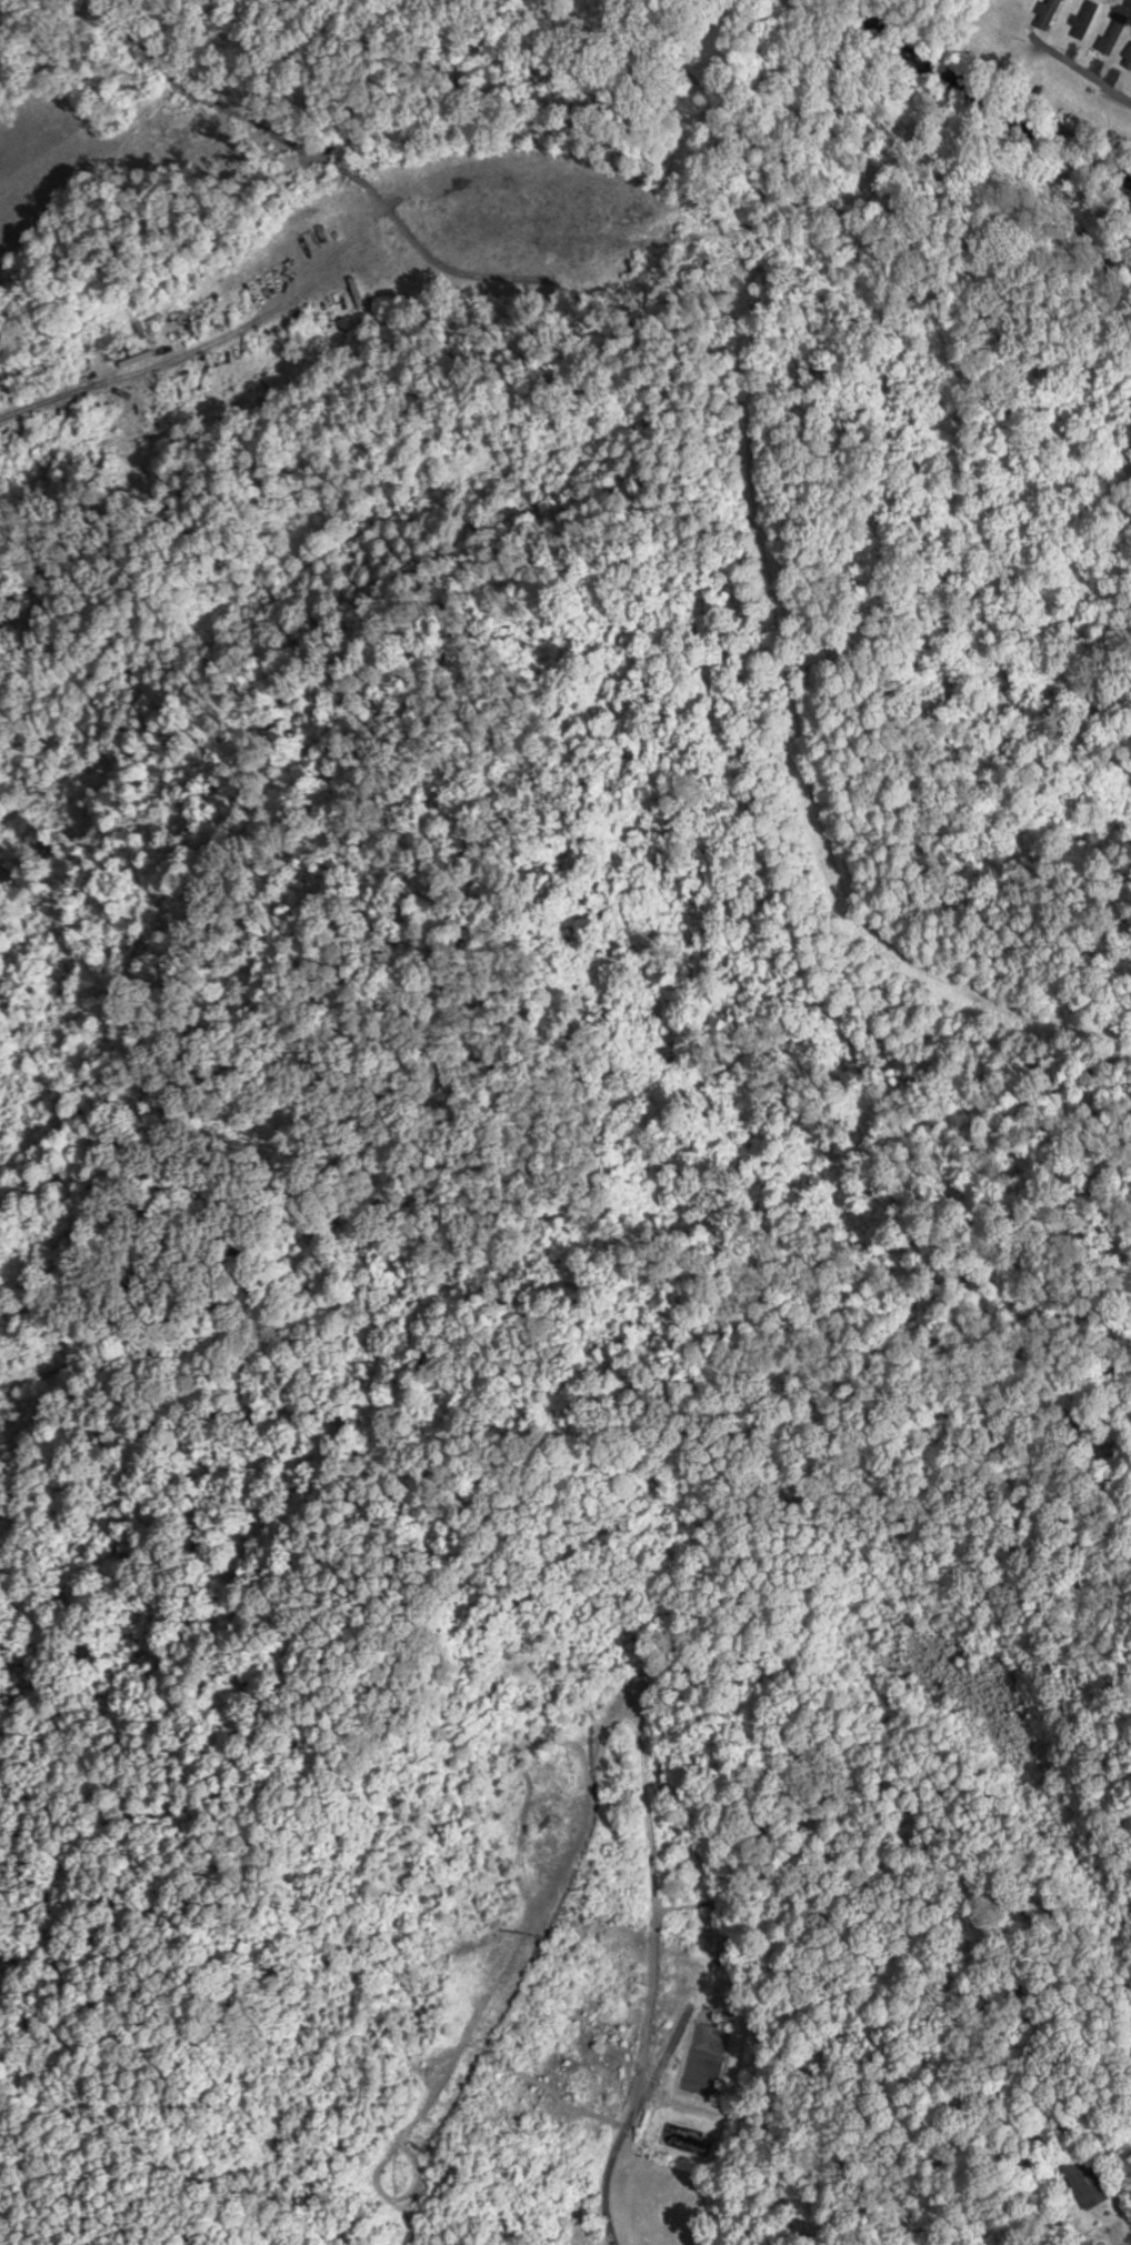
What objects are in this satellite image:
building: (1048, 13)
building: (1084, 19)
building: (1113, 31)
building: (1127, 59)
road: (1082, 71)
road: (1031, 2174)
building: (1087, 2181)

